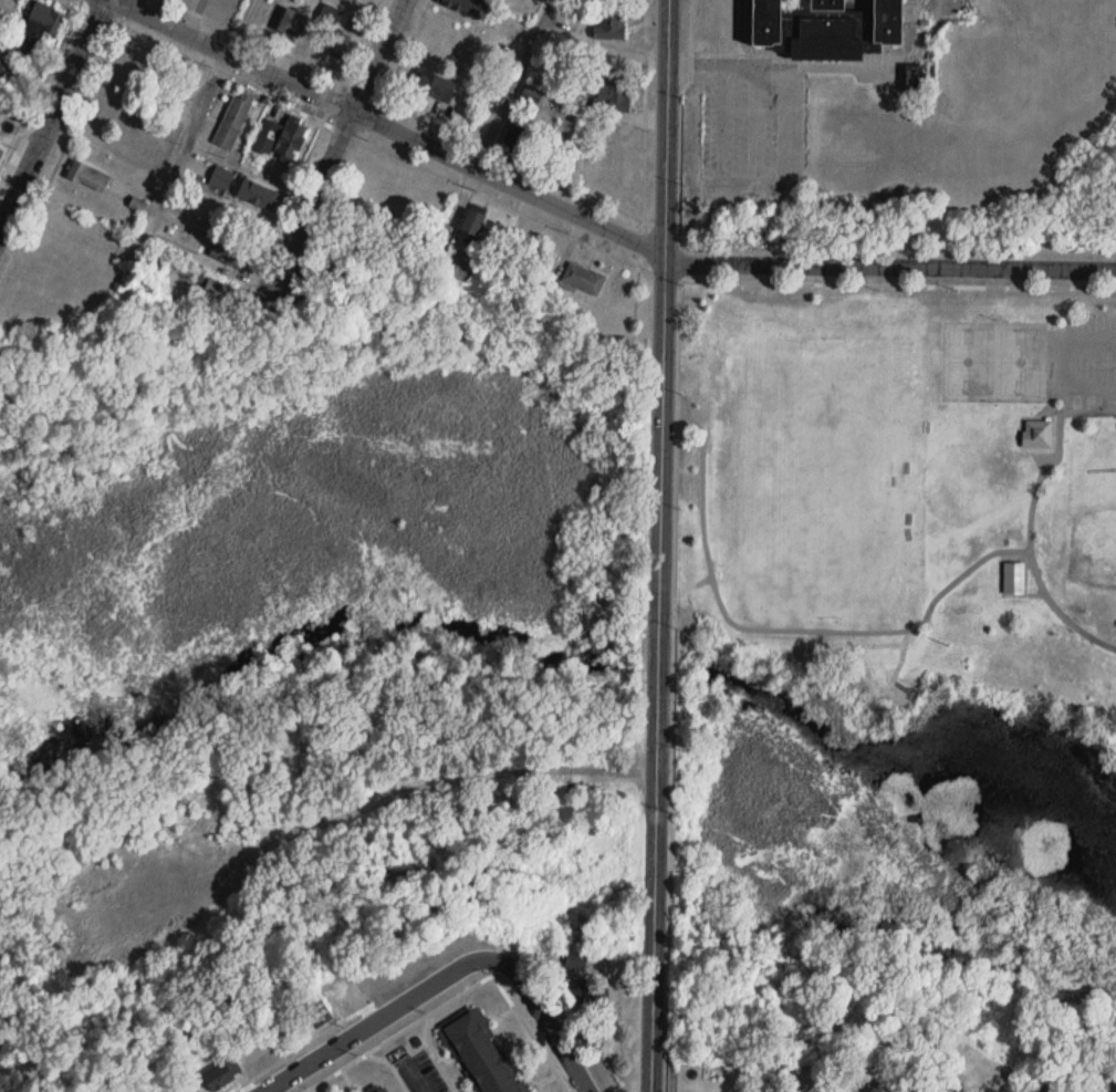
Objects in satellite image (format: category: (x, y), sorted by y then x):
building: (489, 0)
building: (468, 8)
building: (44, 19)
building: (291, 23)
building: (611, 24)
road: (240, 25)
building: (825, 27)
building: (335, 43)
road: (275, 49)
road: (405, 49)
road: (774, 64)
road: (511, 83)
building: (434, 85)
building: (614, 94)
building: (531, 95)
road: (51, 114)
building: (232, 122)
building: (280, 141)
road: (334, 148)
building: (1, 154)
building: (88, 177)
building: (257, 197)
road: (612, 205)
road: (593, 227)
building: (470, 228)
building: (229, 254)
building: (583, 280)
road: (898, 285)
building: (215, 290)
park: (968, 362)
park: (1021, 363)
parking lot: (1089, 368)
road: (1046, 407)
road: (1063, 415)
road: (1088, 417)
building: (1037, 434)
park: (898, 497)
road: (661, 545)
road: (1030, 545)
building: (1014, 576)
road: (695, 587)
road: (776, 628)
park: (309, 654)
road: (898, 667)
road: (672, 686)
building: (575, 964)
building: (314, 1009)
road: (386, 1019)
road: (555, 1020)
building: (480, 1054)
building: (221, 1074)
road: (417, 1078)
road: (1010, 1086)
building: (384, 1090)

